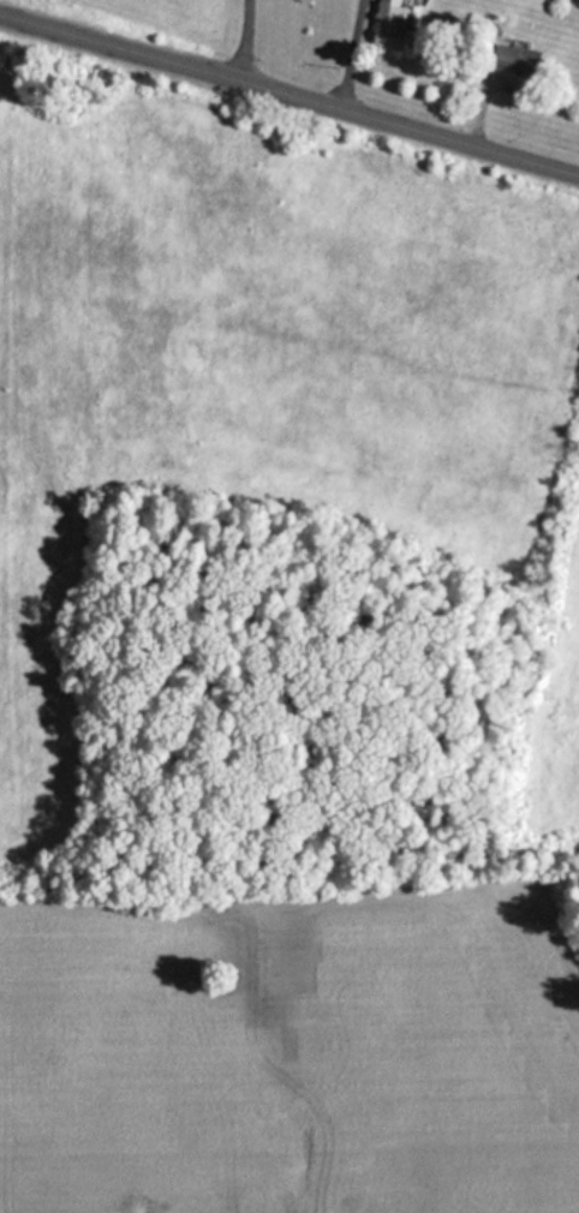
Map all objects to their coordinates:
building: (388, 28)
building: (512, 58)
road: (288, 97)

